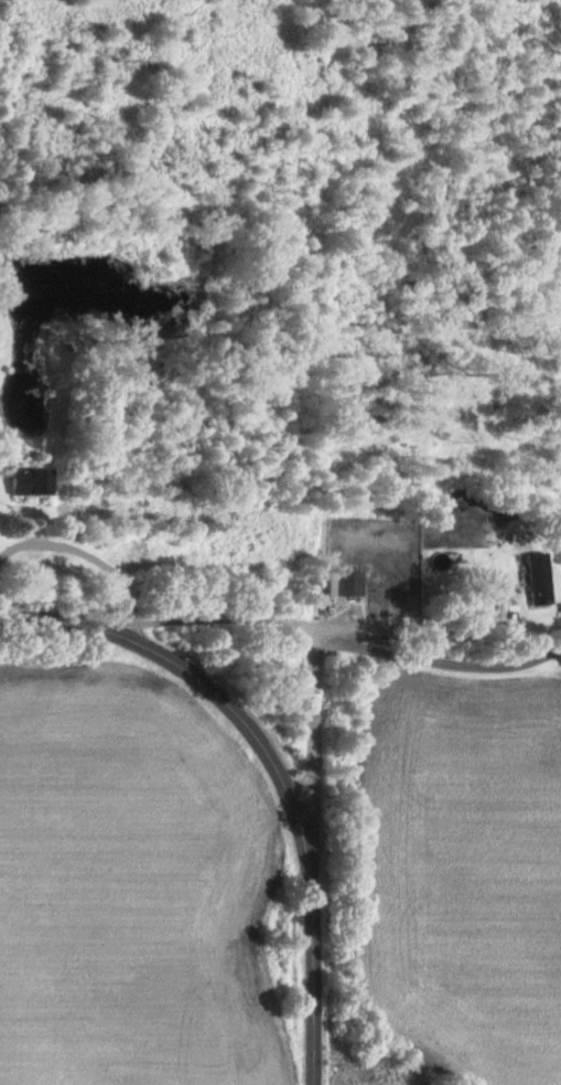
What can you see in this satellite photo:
building: (153, 382)
building: (29, 482)
road: (86, 554)
building: (537, 579)
building: (345, 584)
road: (339, 642)
road: (311, 716)
road: (274, 765)

